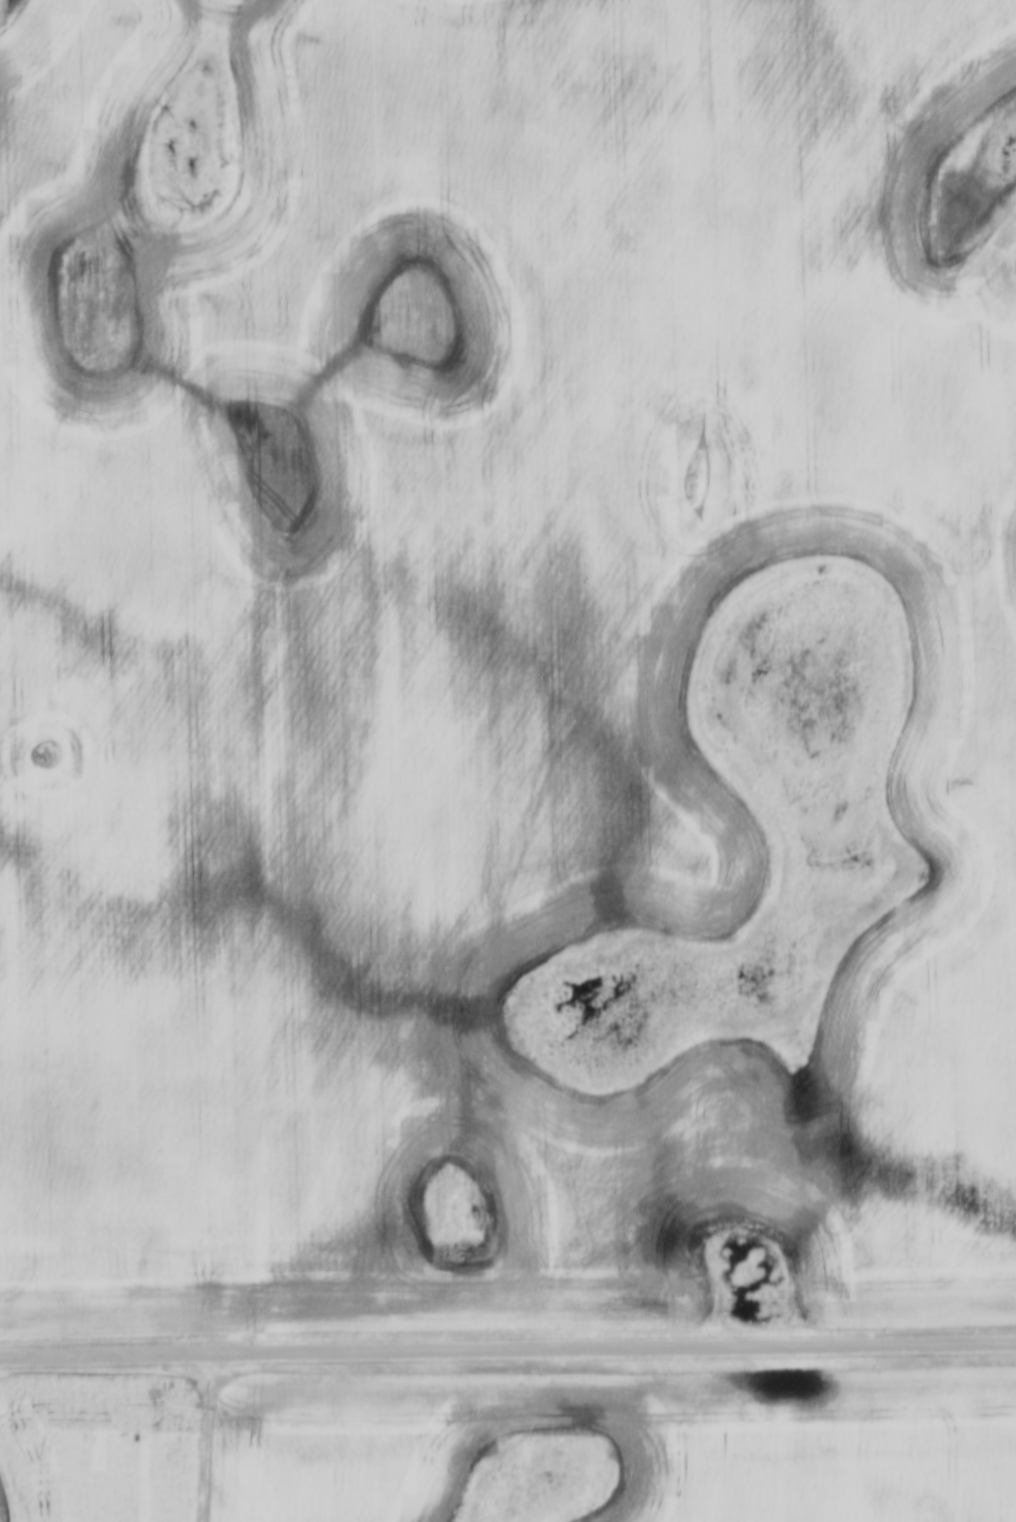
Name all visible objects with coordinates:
road: (507, 1352)

